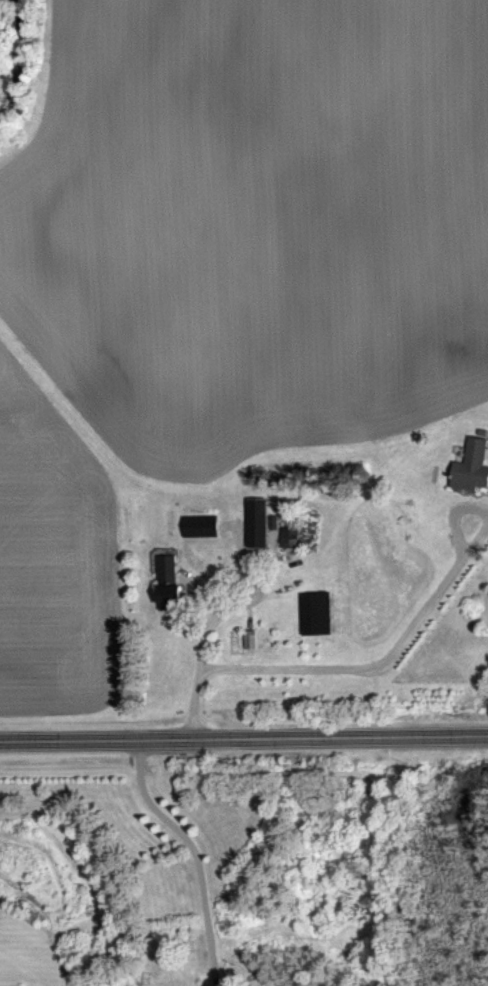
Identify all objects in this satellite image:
building: (469, 468)
building: (254, 523)
building: (197, 526)
building: (287, 538)
building: (163, 581)
building: (306, 614)
building: (248, 640)
road: (345, 658)
road: (243, 741)
road: (209, 854)

